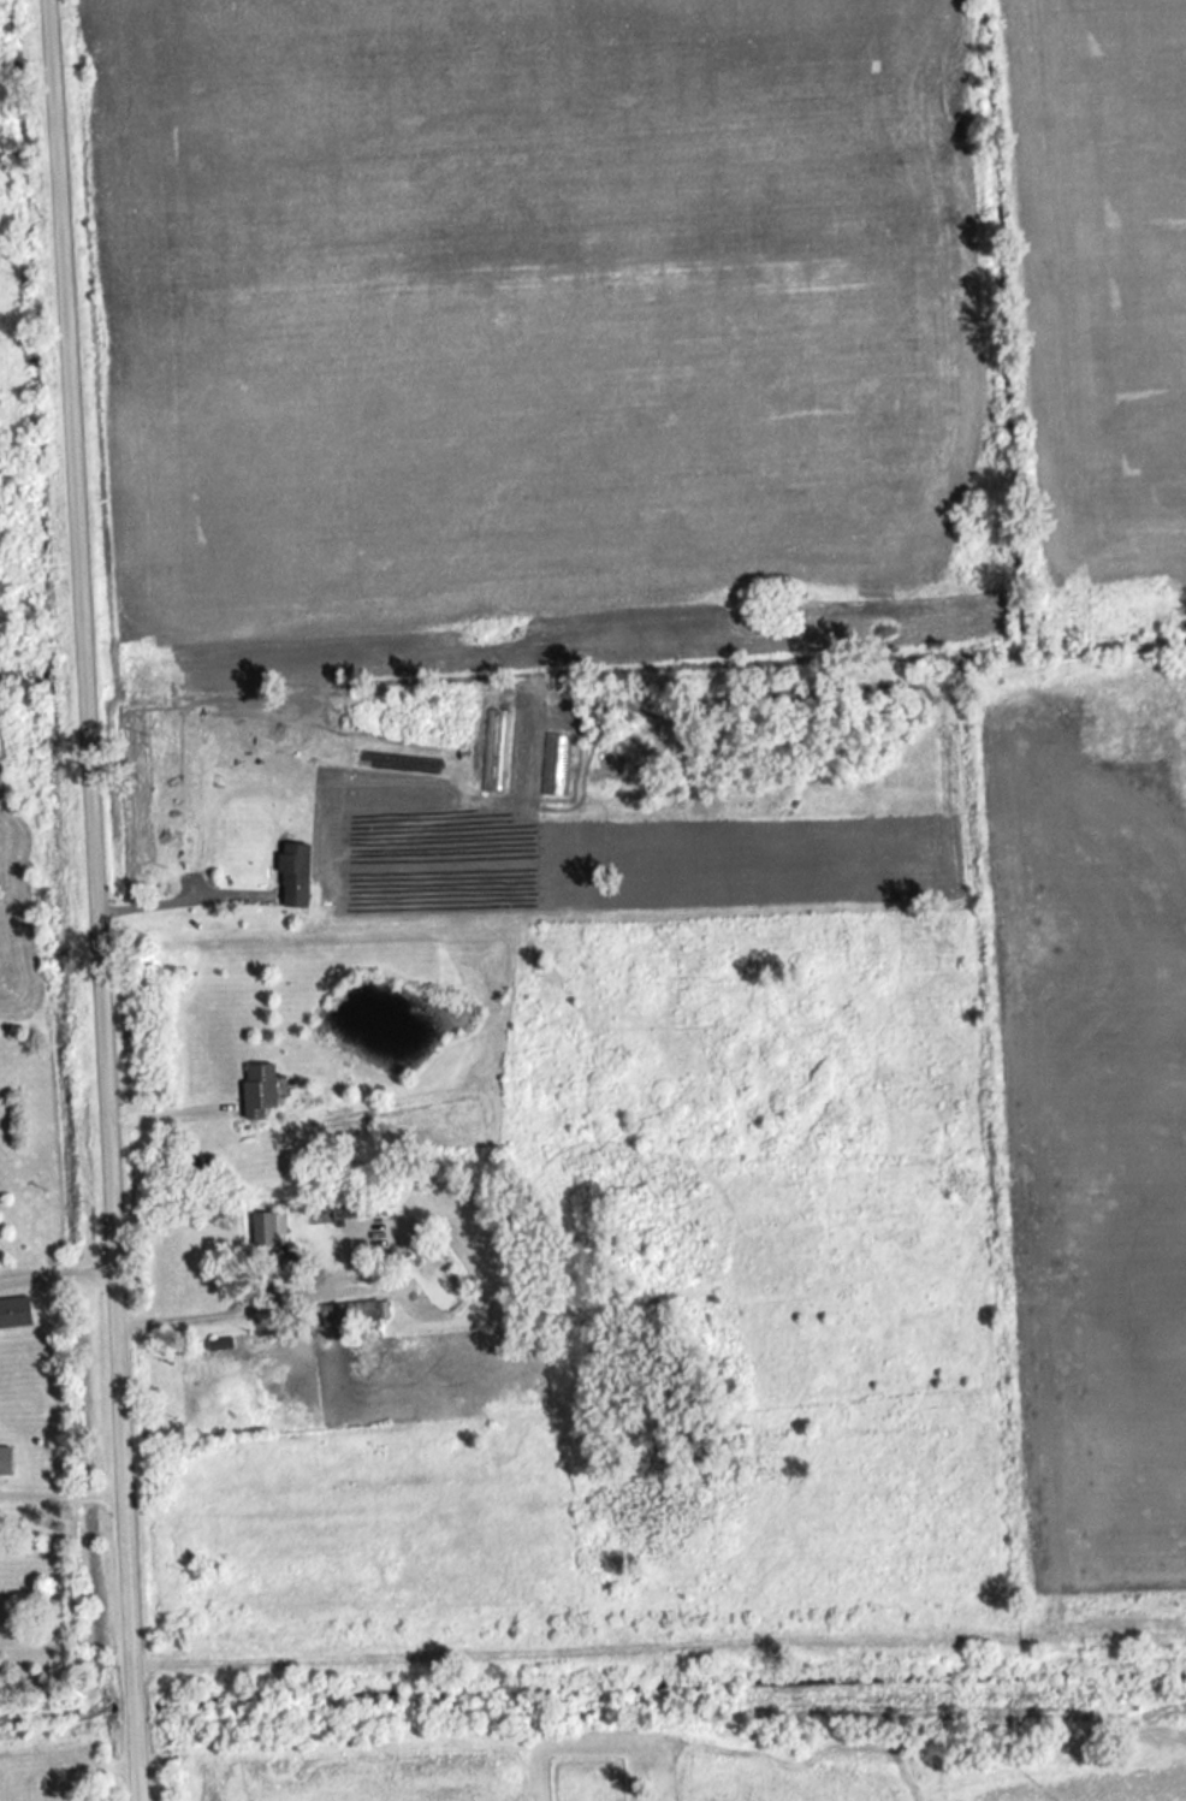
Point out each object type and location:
building: (297, 876)
road: (179, 889)
road: (89, 900)
building: (262, 1091)
road: (167, 1106)
building: (271, 1230)
road: (53, 1275)
road: (237, 1299)
building: (17, 1314)
building: (352, 1315)
building: (7, 1463)
road: (59, 1489)

